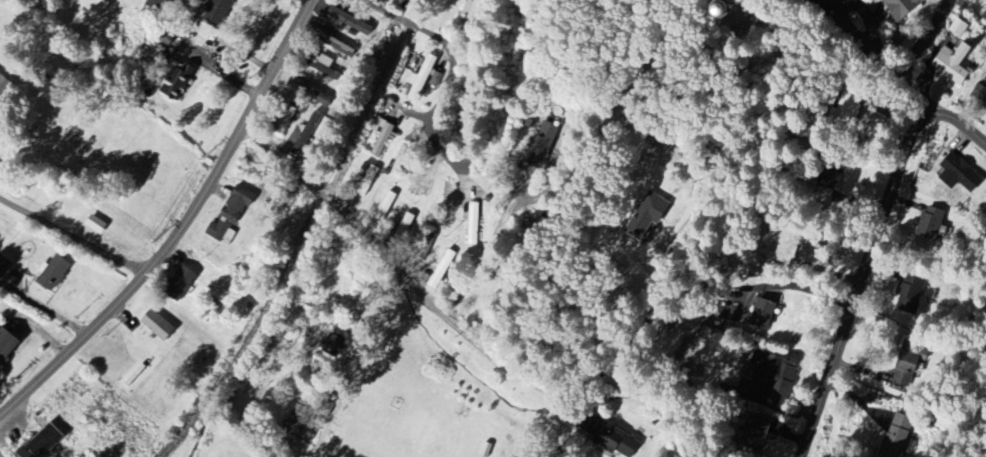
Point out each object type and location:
building: (376, 0)
building: (157, 4)
building: (906, 7)
building: (741, 10)
building: (220, 13)
road: (865, 39)
building: (337, 44)
road: (915, 56)
building: (952, 65)
road: (889, 67)
building: (325, 70)
road: (453, 76)
building: (421, 79)
building: (178, 82)
building: (5, 88)
building: (980, 95)
building: (850, 108)
building: (308, 132)
building: (380, 139)
building: (542, 145)
building: (401, 159)
building: (961, 174)
building: (448, 195)
building: (231, 214)
building: (649, 216)
building: (473, 224)
building: (932, 224)
building: (96, 225)
road: (184, 230)
building: (536, 233)
road: (73, 236)
railway: (303, 238)
building: (810, 251)
road: (487, 252)
road: (870, 253)
building: (4, 266)
building: (442, 269)
building: (55, 274)
building: (182, 285)
building: (910, 293)
road: (45, 310)
building: (761, 313)
building: (158, 326)
building: (336, 343)
building: (7, 347)
road: (484, 350)
building: (908, 369)
building: (774, 375)
building: (590, 424)
building: (294, 429)
building: (756, 432)
building: (897, 436)
building: (616, 441)
building: (44, 442)
road: (0, 456)

